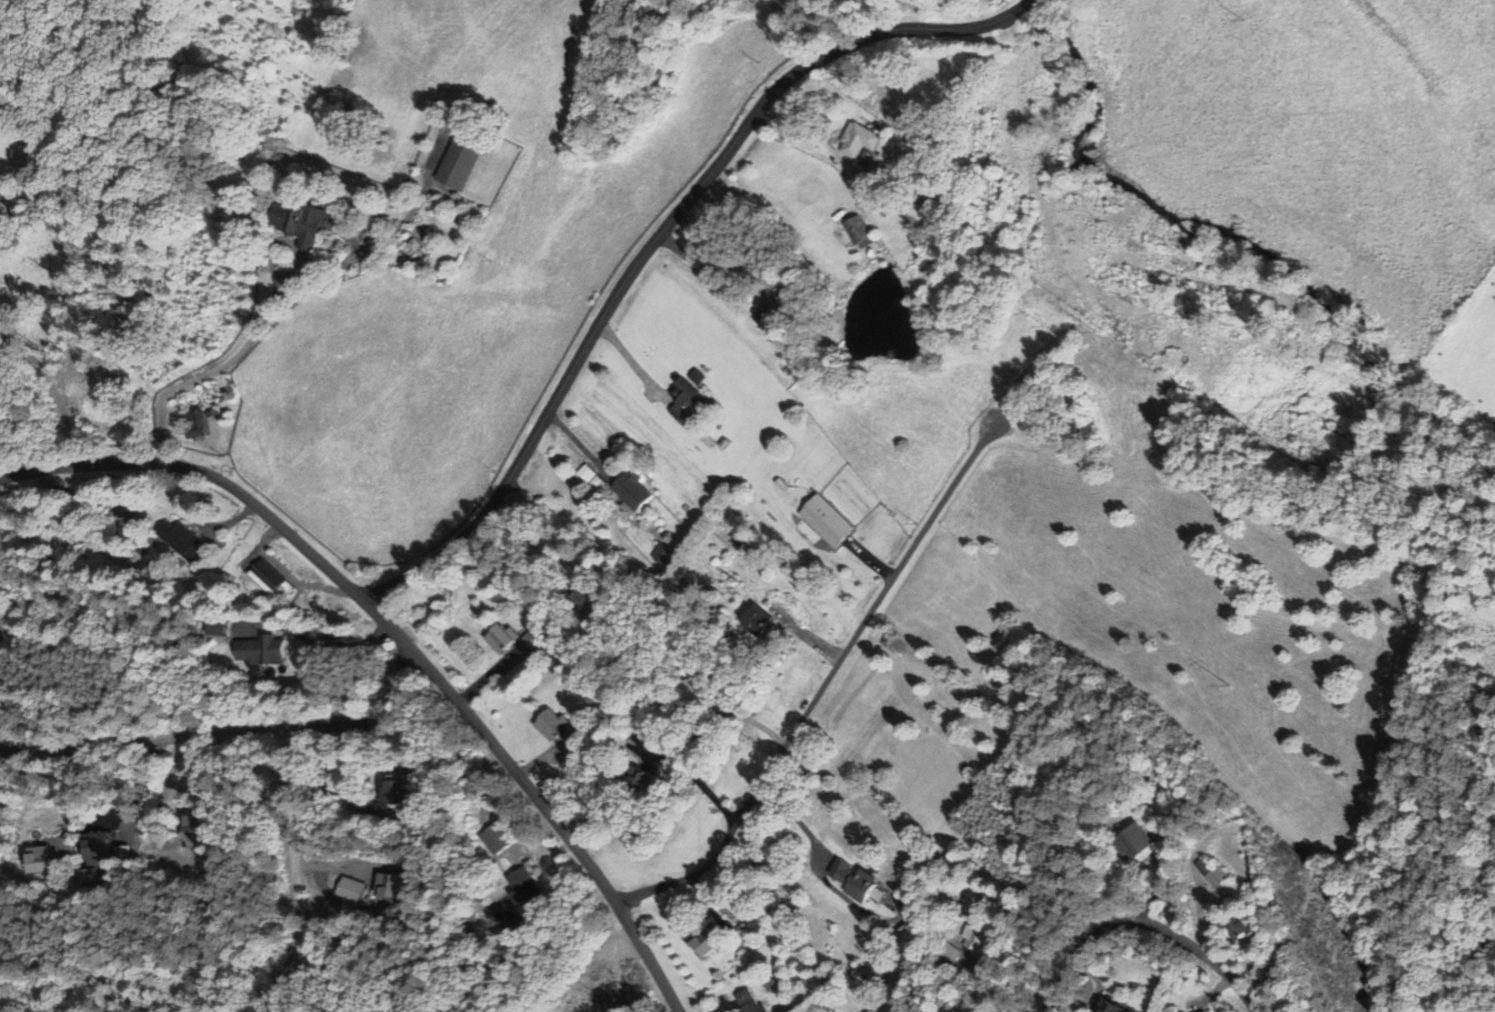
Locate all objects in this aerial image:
building: (857, 140)
building: (457, 164)
building: (295, 223)
building: (857, 231)
road: (661, 233)
power tower: (1096, 332)
building: (681, 401)
building: (197, 423)
building: (592, 477)
building: (632, 489)
building: (824, 520)
building: (182, 539)
building: (663, 554)
building: (266, 576)
building: (756, 619)
building: (500, 637)
road: (400, 638)
building: (259, 650)
road: (824, 683)
power tower: (1229, 685)
building: (552, 727)
road: (226, 739)
building: (636, 780)
building: (393, 789)
building: (190, 830)
building: (1132, 841)
building: (95, 849)
building: (122, 853)
building: (38, 860)
building: (91, 875)
building: (1215, 875)
road: (308, 878)
building: (853, 881)
building: (386, 885)
building: (522, 886)
building: (350, 889)
road: (1143, 926)
building: (1236, 927)
power tower: (1321, 930)
building: (974, 938)
building: (697, 943)
building: (744, 1002)
building: (1107, 1007)
building: (1208, 1011)

